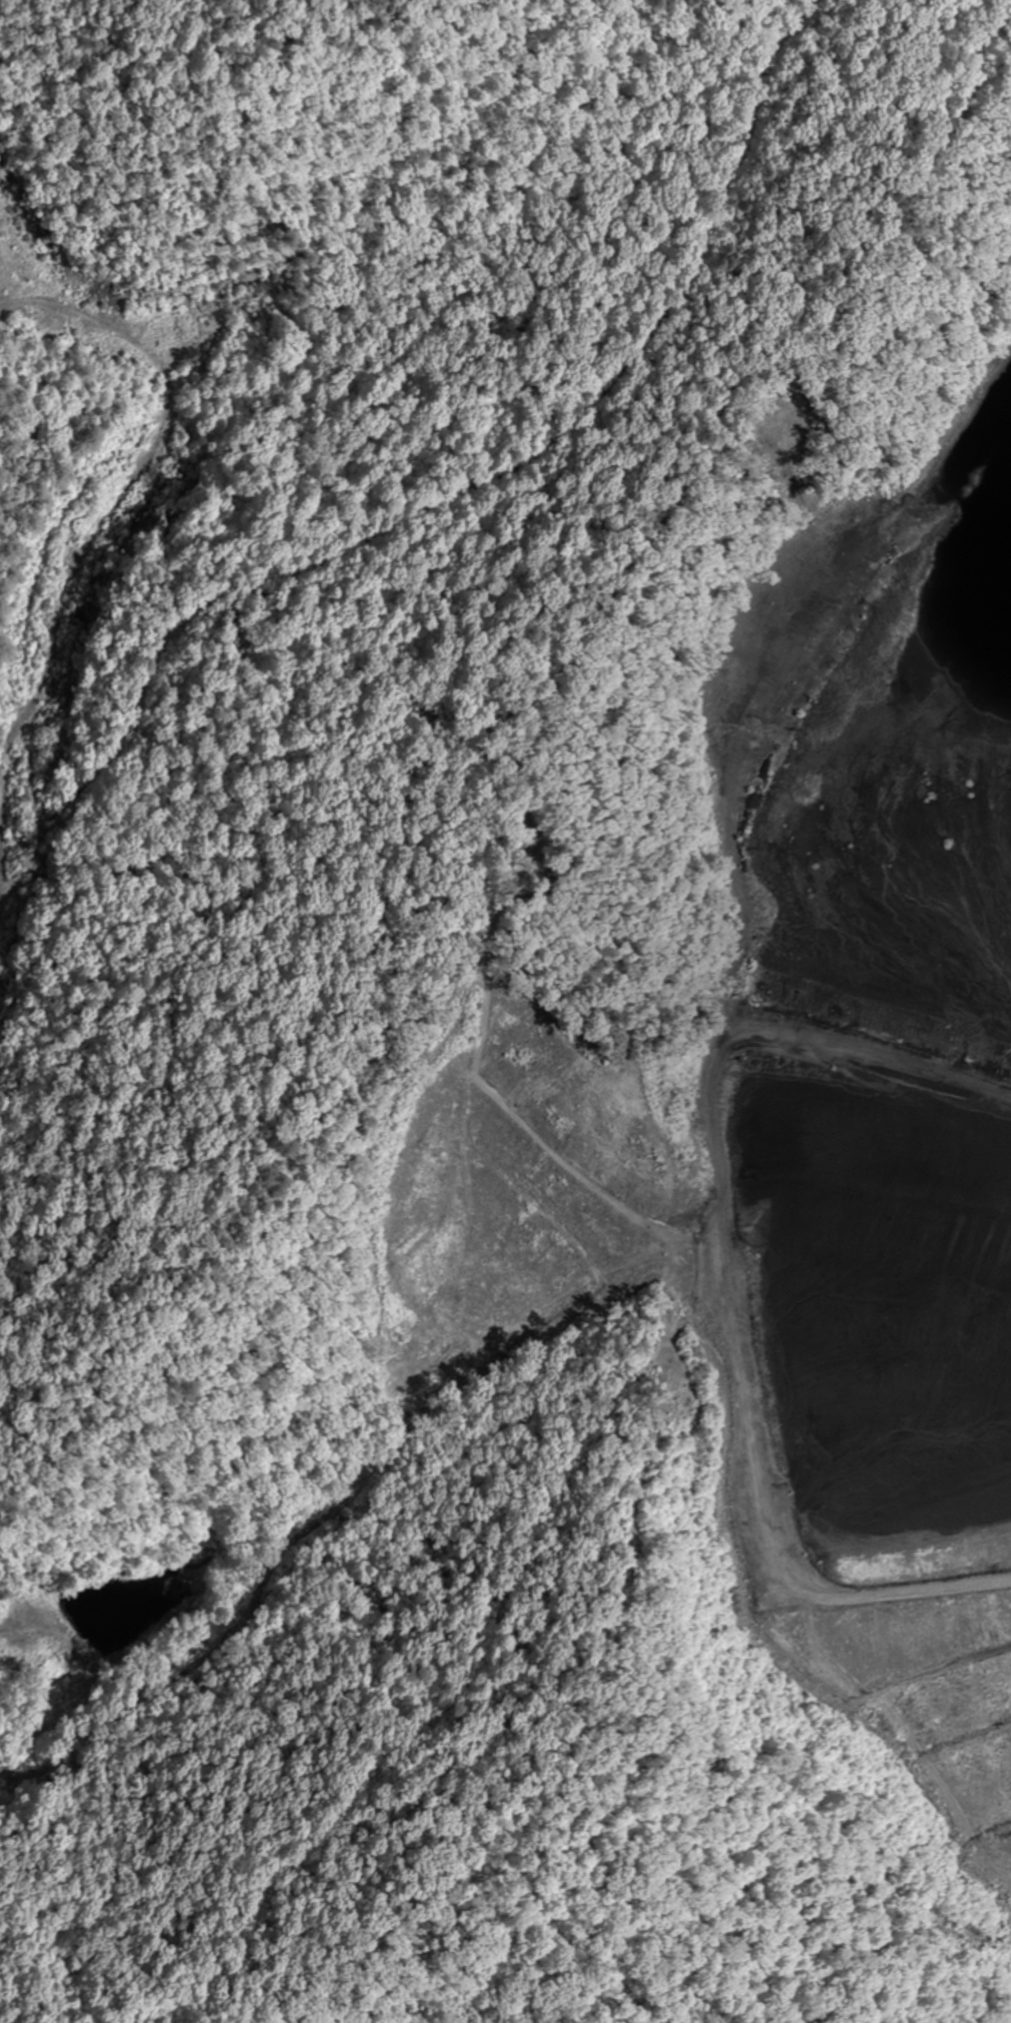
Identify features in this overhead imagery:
road: (555, 492)
quarry: (832, 1262)

